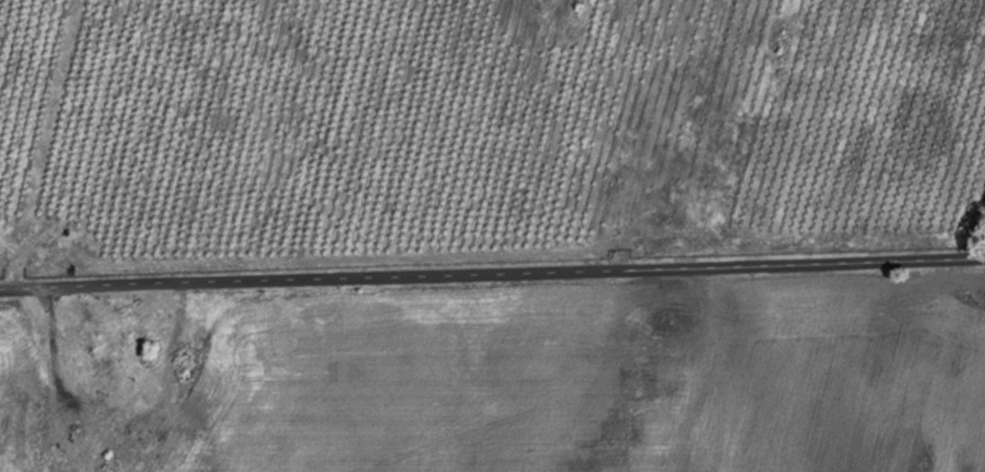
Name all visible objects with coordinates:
road: (694, 135)
road: (492, 273)
building: (109, 381)
building: (112, 417)

